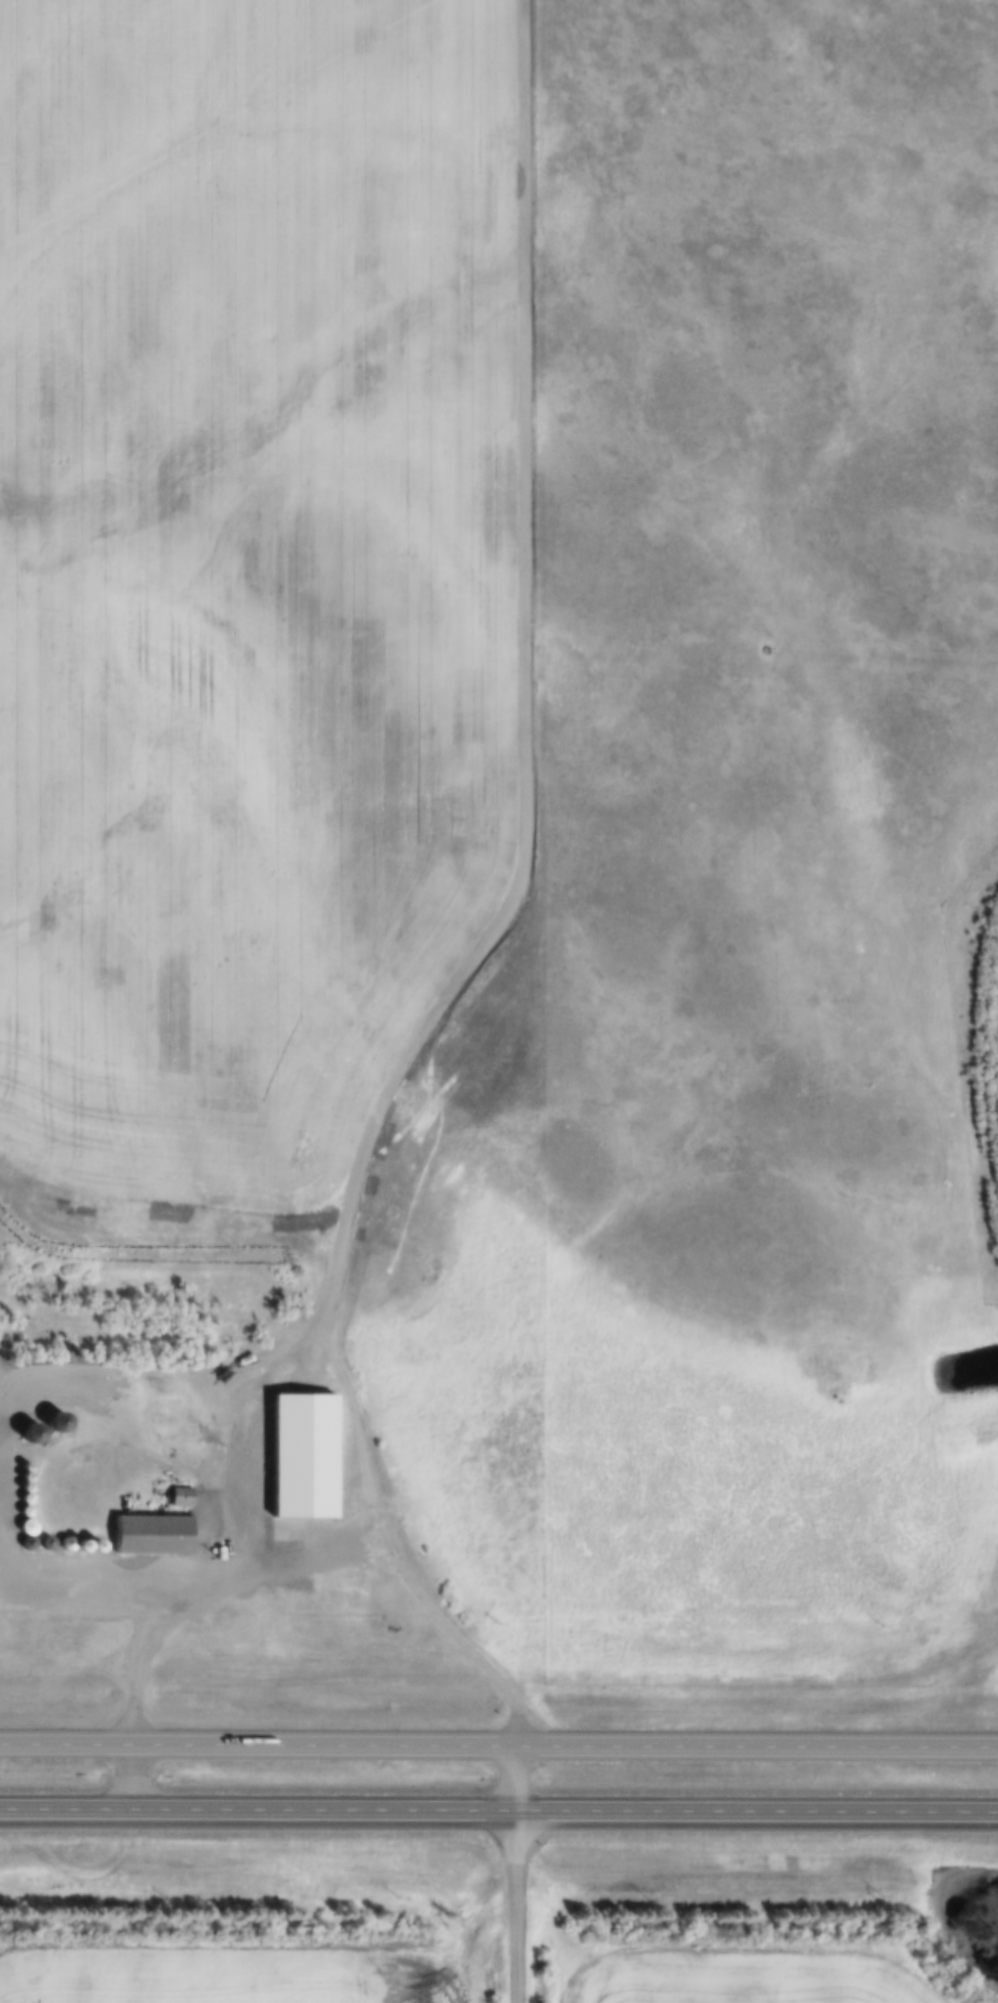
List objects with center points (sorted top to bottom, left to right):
road: (526, 683)
road: (31, 1394)
building: (56, 1420)
building: (30, 1431)
building: (179, 1494)
building: (151, 1532)
road: (250, 1537)
road: (62, 1580)
road: (498, 1746)
road: (129, 1776)
road: (514, 1778)
road: (498, 1808)
road: (515, 1905)

